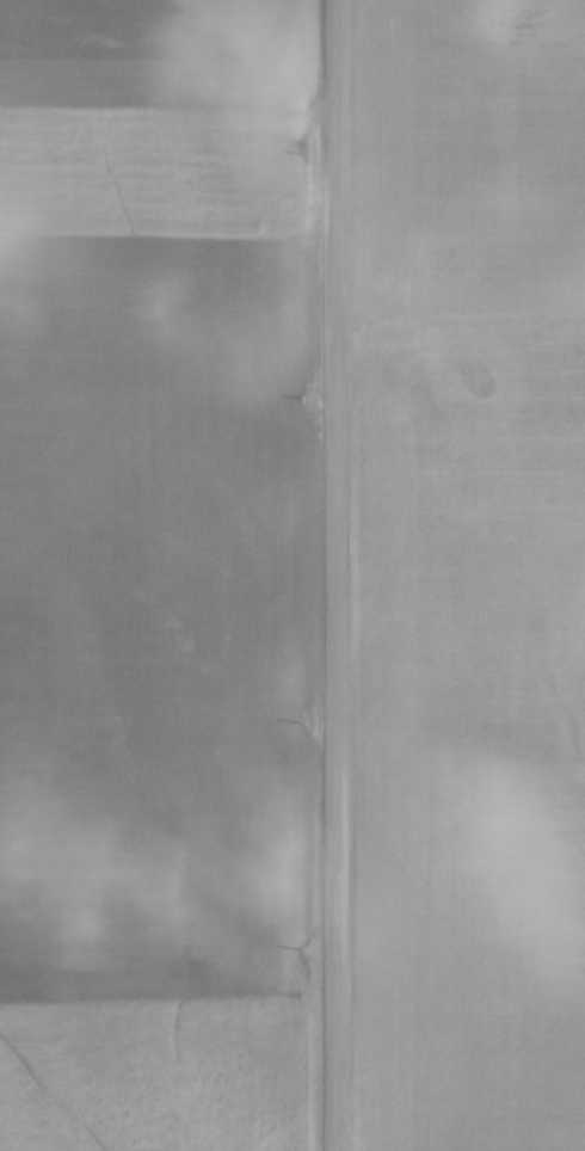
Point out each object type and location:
crop: (156, 573)
road: (334, 575)
crop: (470, 578)

